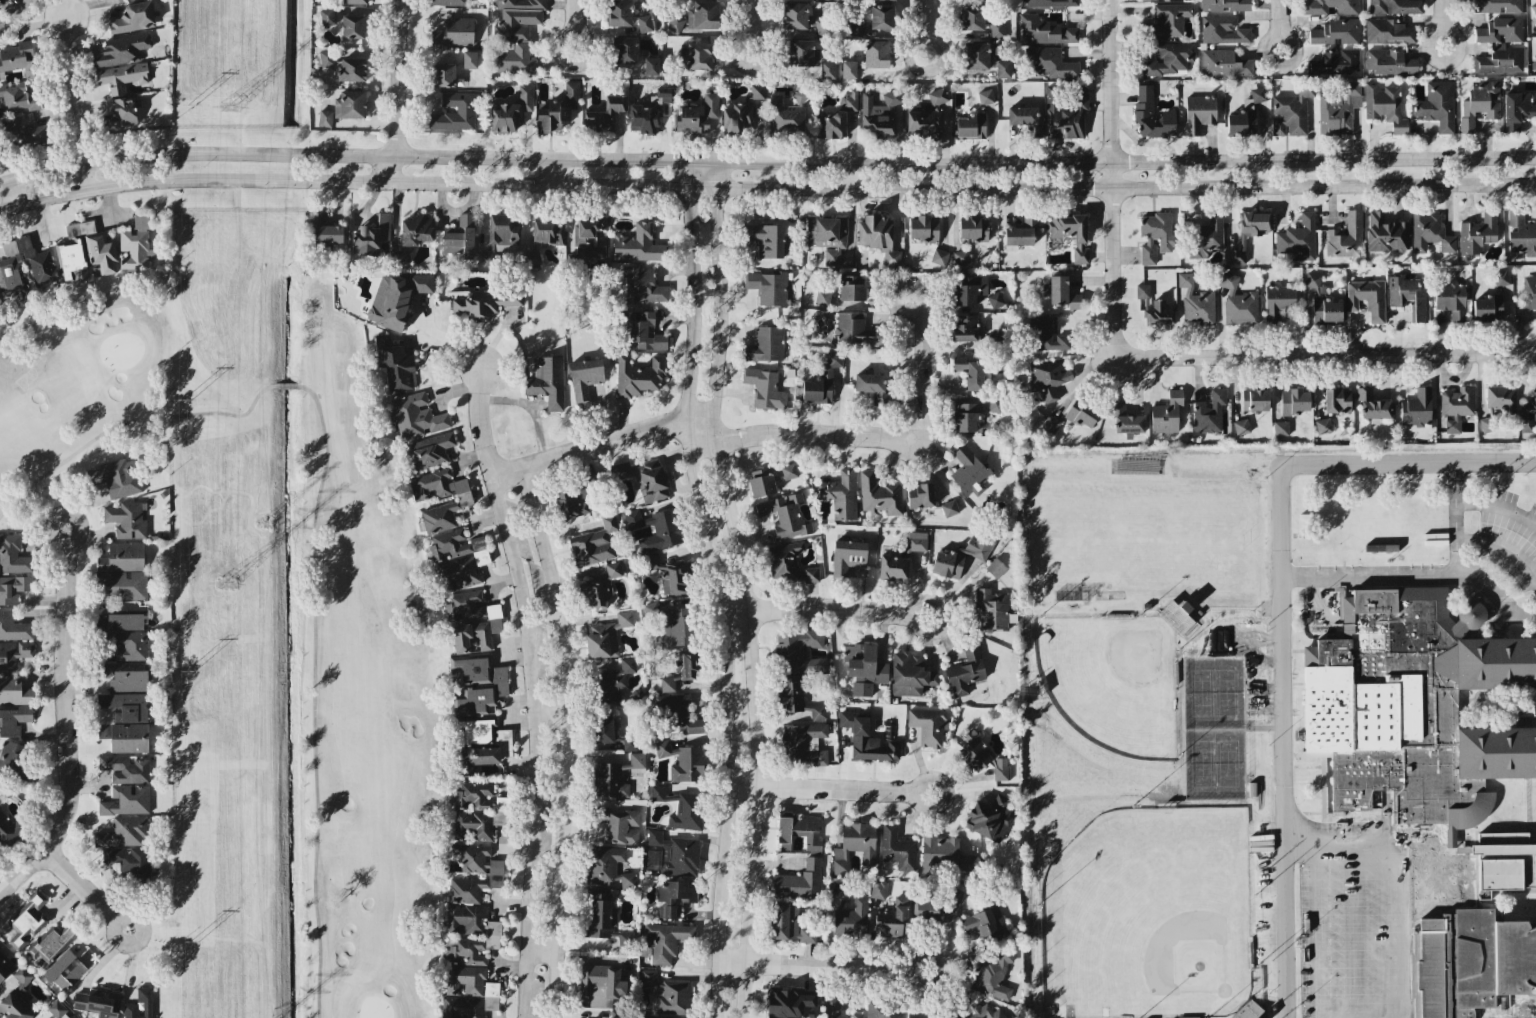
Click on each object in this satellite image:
building: (126, 0)
building: (355, 1)
building: (449, 2)
building: (1047, 2)
building: (1224, 5)
building: (1498, 5)
building: (1395, 6)
building: (1534, 6)
building: (1314, 9)
building: (619, 12)
road: (15, 13)
building: (703, 14)
building: (795, 15)
building: (327, 16)
building: (882, 16)
building: (133, 17)
building: (971, 17)
building: (1170, 19)
building: (674, 21)
building: (644, 22)
road: (573, 24)
building: (996, 24)
road: (1443, 24)
building: (822, 25)
building: (353, 26)
road: (1279, 26)
road: (750, 27)
building: (856, 27)
road: (925, 27)
building: (1222, 29)
building: (1044, 30)
building: (1388, 30)
building: (1500, 30)
building: (1335, 31)
building: (454, 32)
building: (515, 34)
building: (121, 49)
building: (625, 49)
building: (802, 50)
building: (877, 53)
building: (977, 54)
building: (699, 55)
building: (326, 57)
building: (1168, 58)
building: (16, 59)
building: (469, 59)
building: (1499, 59)
building: (1336, 61)
building: (1389, 61)
building: (1052, 63)
building: (1223, 63)
building: (651, 65)
building: (848, 68)
building: (351, 69)
building: (827, 69)
building: (1003, 69)
building: (443, 74)
building: (121, 76)
building: (757, 90)
road: (396, 91)
building: (1258, 93)
building: (985, 96)
building: (19, 97)
road: (72, 100)
building: (849, 100)
building: (1480, 103)
building: (350, 104)
building: (1438, 104)
power tower: (191, 105)
building: (1384, 105)
power tower: (227, 107)
building: (558, 108)
building: (1338, 108)
building: (1517, 109)
building: (456, 110)
building: (1291, 110)
building: (511, 111)
building: (648, 112)
building: (1199, 112)
building: (121, 113)
building: (1064, 113)
building: (878, 114)
building: (1152, 114)
building: (697, 115)
building: (1022, 115)
building: (737, 116)
building: (927, 116)
building: (325, 117)
building: (784, 117)
building: (1241, 119)
building: (831, 124)
building: (971, 125)
building: (24, 130)
road: (766, 162)
road: (548, 171)
road: (1112, 179)
road: (194, 181)
road: (964, 187)
road: (9, 194)
building: (923, 227)
building: (417, 228)
building: (973, 228)
building: (323, 229)
building: (1020, 232)
building: (1070, 232)
building: (1248, 232)
building: (1385, 232)
building: (1430, 232)
building: (1478, 232)
building: (1521, 232)
building: (1155, 235)
building: (460, 236)
building: (498, 236)
building: (543, 236)
building: (827, 236)
building: (878, 236)
building: (1205, 236)
building: (1345, 236)
building: (766, 238)
building: (1297, 238)
building: (587, 239)
building: (638, 244)
building: (135, 245)
building: (85, 251)
building: (401, 255)
building: (939, 256)
building: (961, 256)
building: (24, 266)
building: (1501, 277)
building: (1312, 279)
building: (643, 286)
building: (768, 286)
building: (851, 287)
building: (970, 288)
building: (1529, 291)
building: (1060, 292)
building: (1406, 294)
building: (396, 296)
building: (822, 297)
building: (1367, 297)
building: (1451, 298)
building: (995, 299)
building: (1278, 299)
building: (1195, 301)
building: (484, 302)
building: (1238, 302)
building: (1154, 307)
building: (1488, 307)
building: (1325, 310)
building: (965, 327)
building: (853, 328)
building: (643, 330)
building: (1048, 335)
building: (766, 343)
road: (1323, 357)
building: (395, 362)
building: (970, 371)
building: (638, 375)
building: (584, 377)
building: (1049, 379)
building: (547, 380)
building: (821, 381)
building: (871, 385)
building: (765, 387)
building: (1254, 399)
building: (1293, 400)
building: (1337, 400)
power tower: (186, 401)
building: (1372, 403)
building: (995, 404)
building: (1498, 404)
building: (1456, 405)
building: (1416, 407)
building: (1209, 410)
building: (1081, 412)
building: (1166, 412)
building: (416, 415)
building: (1527, 415)
building: (966, 416)
building: (1126, 419)
road: (479, 422)
building: (1050, 423)
building: (1323, 425)
building: (1241, 426)
building: (1280, 427)
road: (876, 437)
road: (601, 443)
building: (429, 450)
building: (789, 470)
building: (969, 471)
building: (116, 477)
building: (644, 477)
building: (761, 481)
building: (841, 494)
building: (879, 494)
building: (920, 494)
building: (576, 496)
building: (464, 499)
road: (1498, 506)
building: (949, 507)
building: (784, 515)
building: (126, 519)
power tower: (261, 525)
building: (655, 528)
park: (1141, 536)
building: (916, 540)
building: (594, 542)
road: (1503, 545)
building: (13, 554)
building: (847, 555)
building: (122, 556)
building: (960, 556)
building: (458, 557)
building: (784, 560)
building: (893, 566)
building: (995, 567)
road: (1423, 572)
building: (672, 574)
building: (811, 574)
power tower: (223, 582)
building: (123, 584)
building: (601, 586)
building: (13, 587)
road: (719, 588)
road: (744, 588)
road: (1494, 596)
building: (464, 604)
road: (826, 606)
building: (994, 608)
building: (1178, 616)
building: (494, 617)
road: (1285, 617)
building: (121, 621)
building: (673, 625)
building: (13, 626)
building: (470, 635)
building: (606, 635)
building: (130, 644)
building: (800, 650)
building: (14, 652)
building: (864, 667)
building: (680, 670)
power tower: (187, 671)
building: (965, 671)
building: (910, 674)
building: (124, 675)
park: (360, 675)
building: (615, 680)
park: (1110, 681)
building: (476, 682)
building: (14, 690)
building: (797, 698)
road: (548, 702)
building: (125, 705)
building: (1416, 705)
building: (683, 714)
building: (13, 719)
road: (66, 723)
park: (1211, 723)
building: (928, 724)
building: (603, 729)
building: (125, 736)
road: (564, 740)
building: (628, 740)
building: (803, 742)
building: (481, 743)
road: (532, 745)
building: (664, 748)
building: (975, 752)
building: (15, 760)
building: (687, 764)
building: (125, 768)
building: (1001, 768)
building: (616, 775)
road: (829, 788)
building: (661, 793)
building: (126, 800)
building: (476, 811)
building: (686, 811)
building: (987, 815)
building: (619, 823)
building: (9, 829)
building: (124, 831)
building: (799, 832)
building: (854, 845)
building: (897, 847)
building: (944, 852)
building: (675, 853)
building: (129, 859)
building: (1504, 864)
building: (607, 867)
building: (495, 874)
building: (799, 880)
road: (1394, 880)
building: (878, 889)
road: (86, 895)
building: (955, 895)
building: (674, 897)
building: (924, 907)
building: (599, 914)
building: (852, 917)
park: (1147, 917)
building: (893, 918)
building: (984, 921)
building: (788, 922)
building: (491, 935)
power tower: (193, 939)
building: (664, 940)
building: (624, 941)
building: (51, 943)
building: (1465, 947)
road: (542, 951)
road: (821, 966)
building: (67, 968)
building: (3, 970)
building: (993, 974)
building: (602, 984)
building: (667, 992)
building: (468, 993)
building: (17, 997)
building: (787, 1001)
building: (98, 1002)
building: (147, 1002)
building: (836, 1008)
building: (882, 1009)
building: (1247, 1010)
building: (981, 1011)
building: (918, 1015)
building: (616, 1017)

